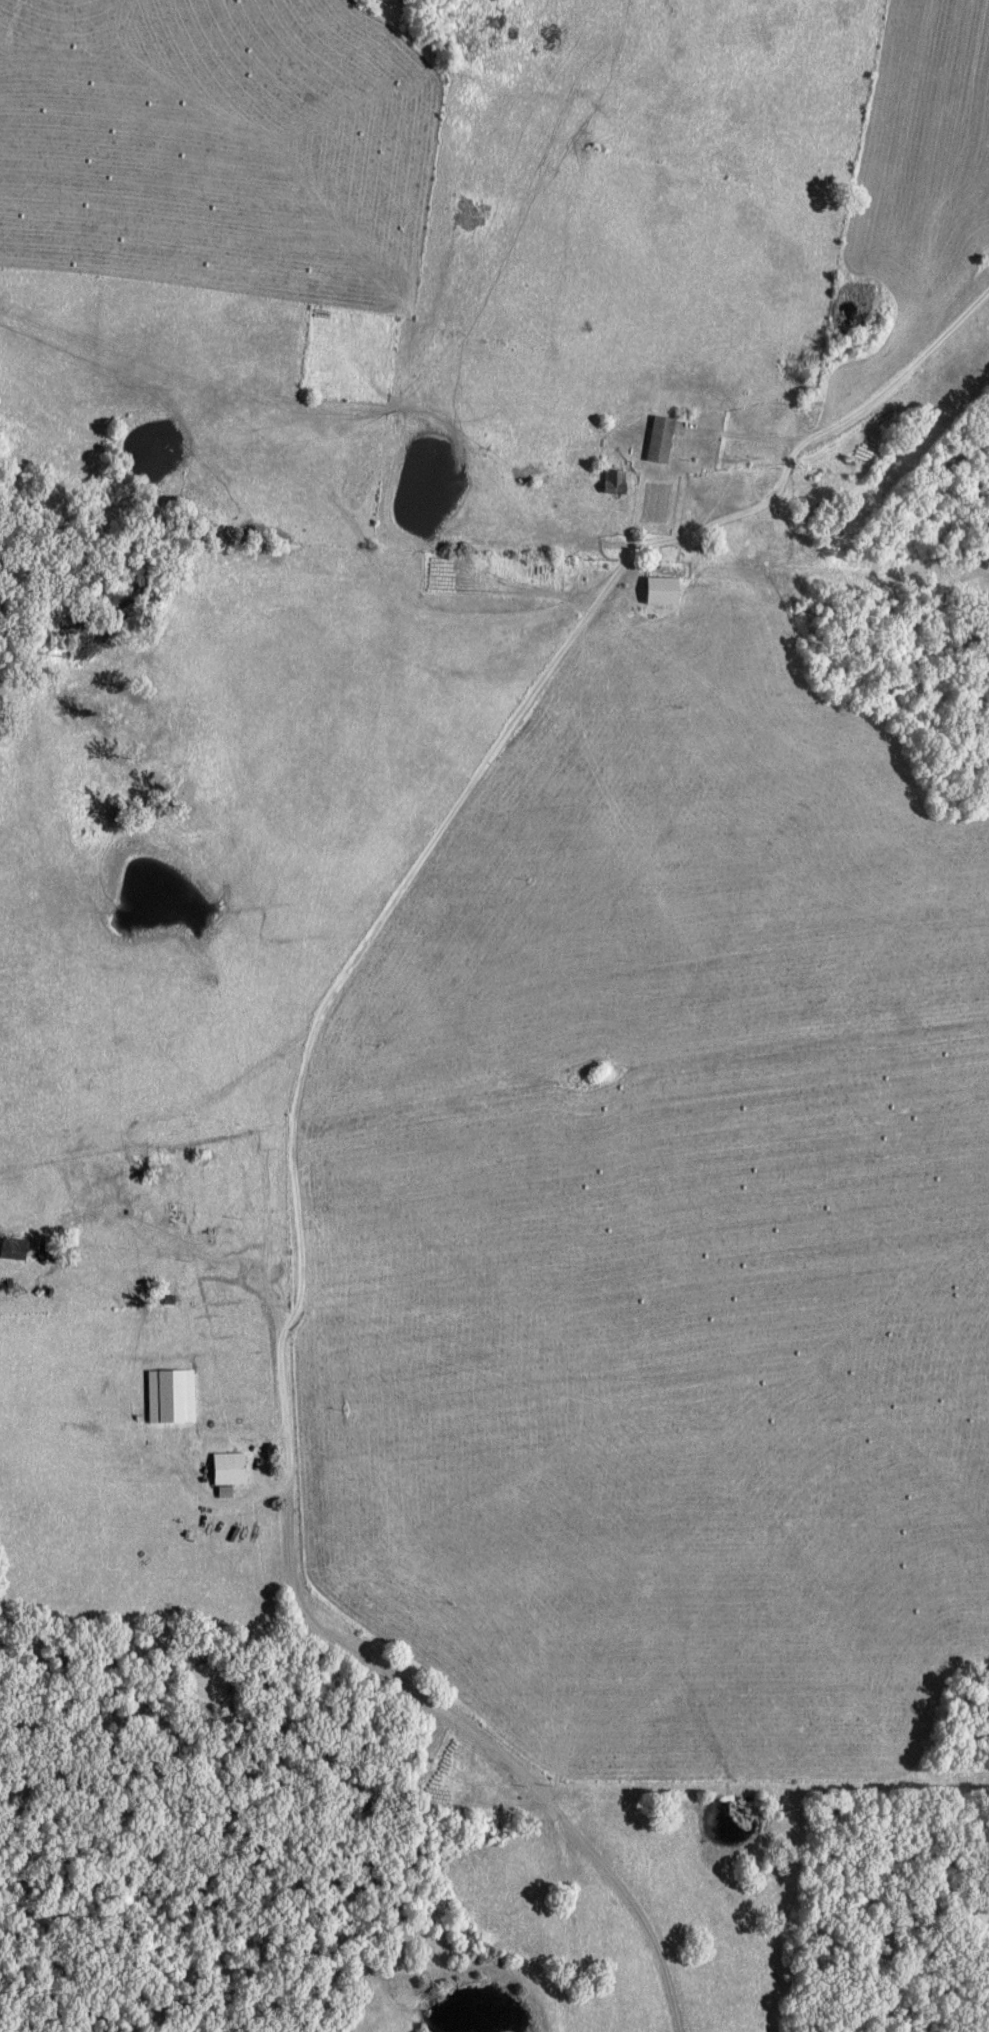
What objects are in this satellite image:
road: (854, 411)
building: (658, 438)
building: (536, 567)
building: (663, 592)
building: (174, 1213)
road: (300, 1222)
building: (17, 1249)
building: (16, 1289)
building: (231, 1469)
road: (976, 2018)

